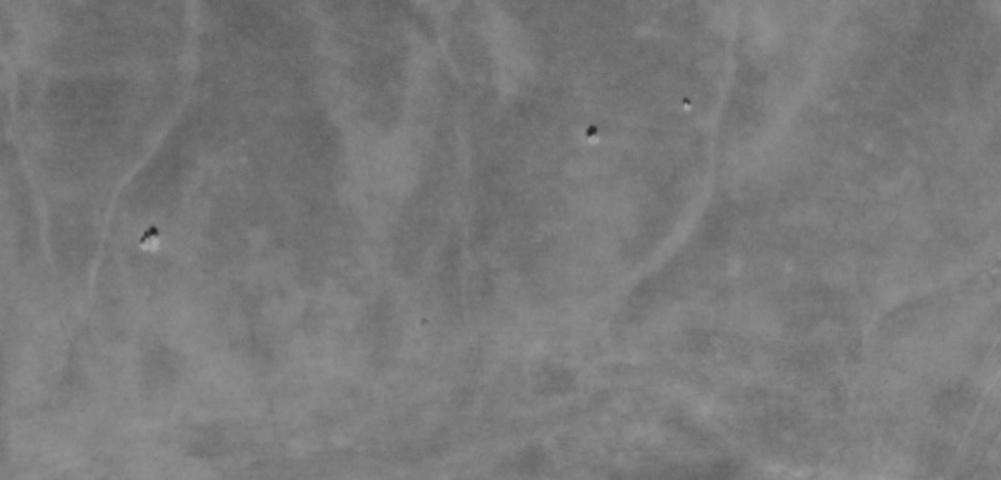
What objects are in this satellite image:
road: (859, 222)
road: (941, 382)

